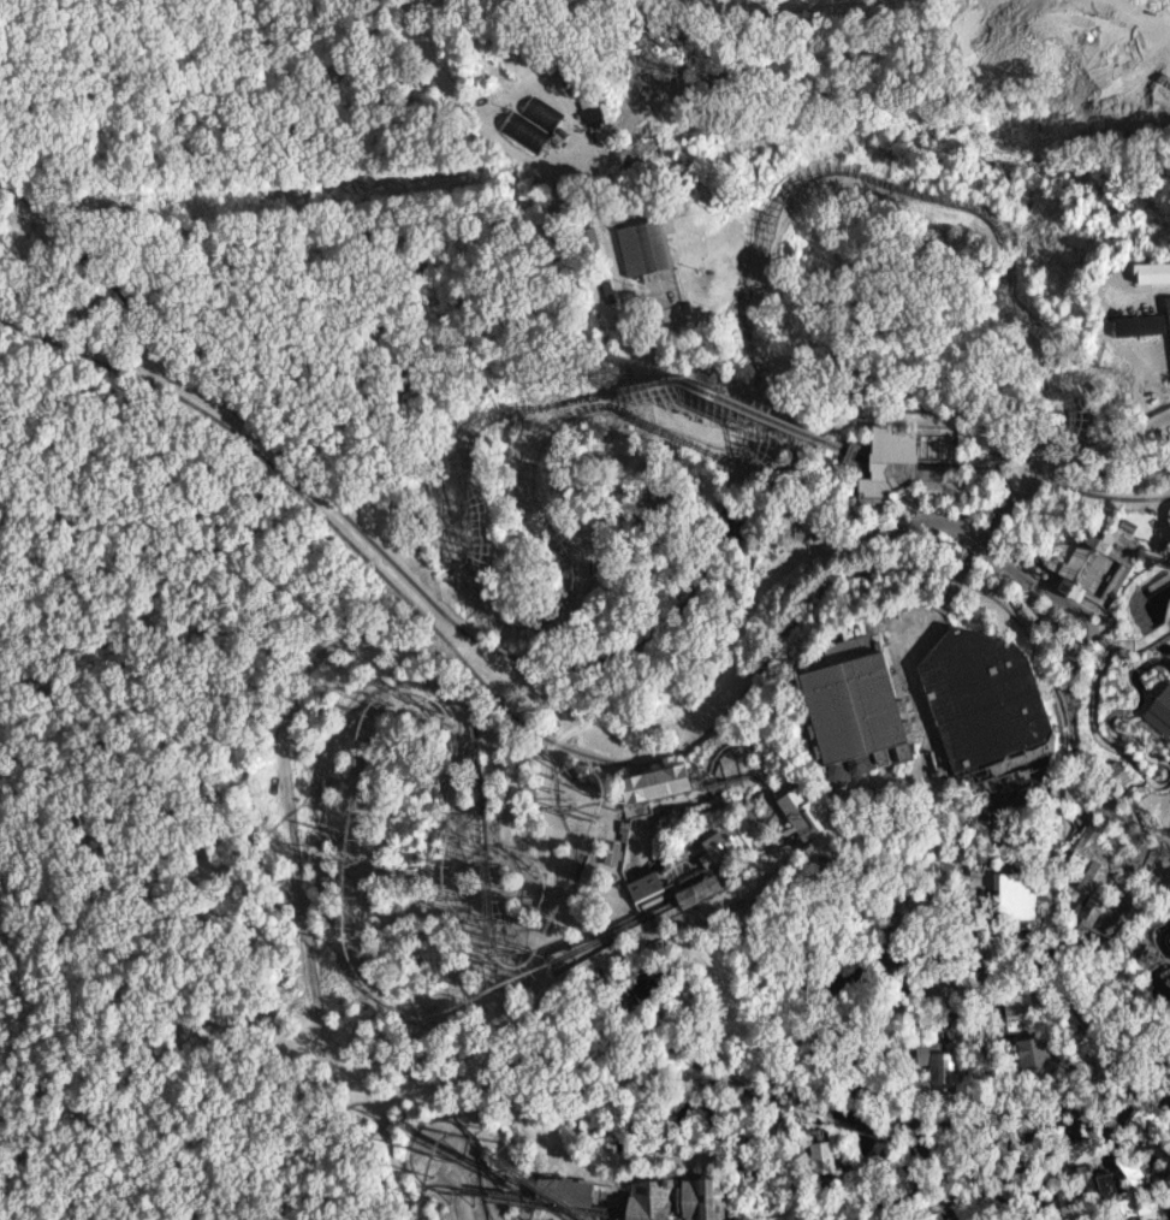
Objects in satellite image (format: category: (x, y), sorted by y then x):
building: (540, 113)
building: (523, 131)
building: (639, 248)
building: (1153, 273)
building: (1168, 306)
building: (1141, 325)
road: (1107, 442)
building: (898, 468)
road: (1169, 496)
road: (917, 505)
road: (880, 517)
road: (993, 522)
road: (1039, 605)
building: (1026, 614)
theme park: (768, 662)
road: (905, 662)
railway: (378, 695)
building: (979, 699)
building: (849, 703)
road: (618, 728)
building: (1004, 765)
railway: (350, 768)
railway: (455, 769)
railway: (550, 780)
building: (1112, 780)
building: (651, 784)
railway: (706, 787)
road: (893, 794)
road: (1020, 796)
road: (1097, 809)
road: (974, 812)
building: (806, 817)
railway: (584, 833)
railway: (332, 835)
road: (1129, 835)
railway: (340, 837)
building: (731, 841)
railway: (480, 845)
road: (550, 846)
road: (976, 849)
road: (816, 852)
railway: (712, 855)
road: (893, 857)
railway: (436, 861)
railway: (480, 861)
road: (299, 864)
building: (1092, 871)
railway: (435, 873)
road: (1163, 880)
road: (979, 881)
building: (939, 882)
railway: (435, 887)
building: (645, 887)
road: (1165, 888)
road: (1121, 890)
railway: (480, 892)
building: (696, 892)
building: (1014, 899)
road: (905, 914)
road: (973, 923)
building: (1081, 925)
railway: (481, 931)
railway: (535, 935)
road: (1141, 941)
building: (1112, 943)
road: (992, 947)
road: (986, 953)
road: (944, 954)
road: (1004, 969)
road: (946, 981)
road: (545, 991)
railway: (479, 995)
road: (883, 1000)
road: (910, 1012)
road: (1094, 1023)
road: (838, 1048)
building: (1034, 1060)
building: (939, 1065)
road: (797, 1085)
road: (1134, 1101)
road: (1002, 1103)
road: (455, 1114)
railway: (439, 1119)
road: (920, 1119)
road: (1082, 1129)
road: (902, 1130)
road: (382, 1136)
railway: (439, 1144)
road: (897, 1144)
road: (932, 1153)
road: (665, 1160)
road: (865, 1167)
road: (1168, 1172)
railway: (417, 1179)
road: (770, 1181)
building: (1107, 1183)
railway: (522, 1186)
building: (562, 1192)
road: (982, 1192)
building: (667, 1200)
railway: (540, 1204)
road: (946, 1208)
railway: (416, 1209)
building: (932, 1216)
railway: (640, 1218)

